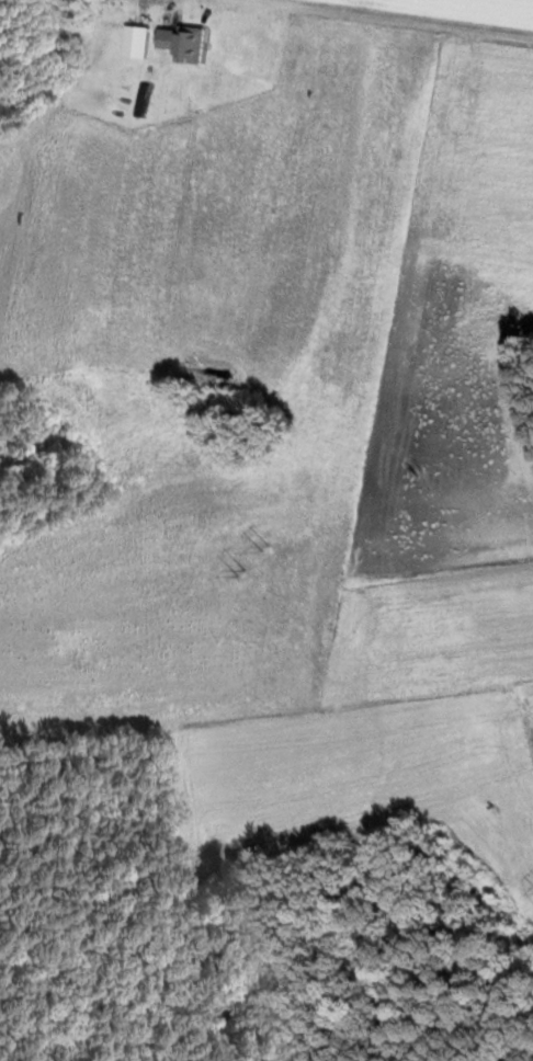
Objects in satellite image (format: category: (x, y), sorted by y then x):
road: (382, 18)
power tower: (268, 549)
power tower: (245, 571)

